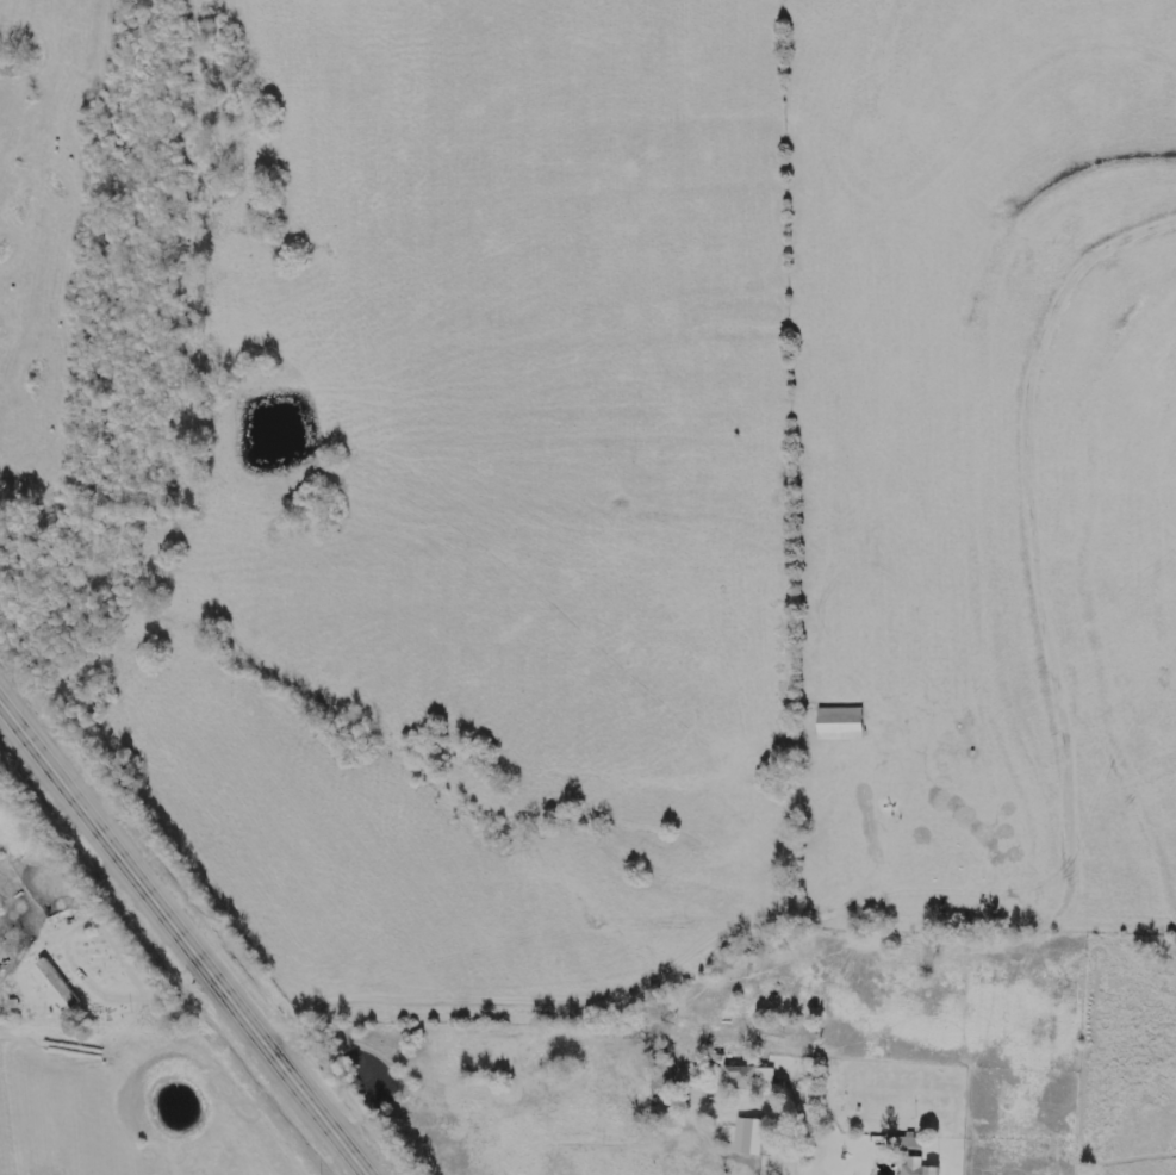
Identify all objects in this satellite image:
building: (840, 725)
railway: (199, 919)
road: (185, 937)
road: (640, 976)
building: (60, 984)
road: (795, 1063)
building: (746, 1077)
building: (752, 1136)
road: (896, 1162)
building: (922, 1169)

